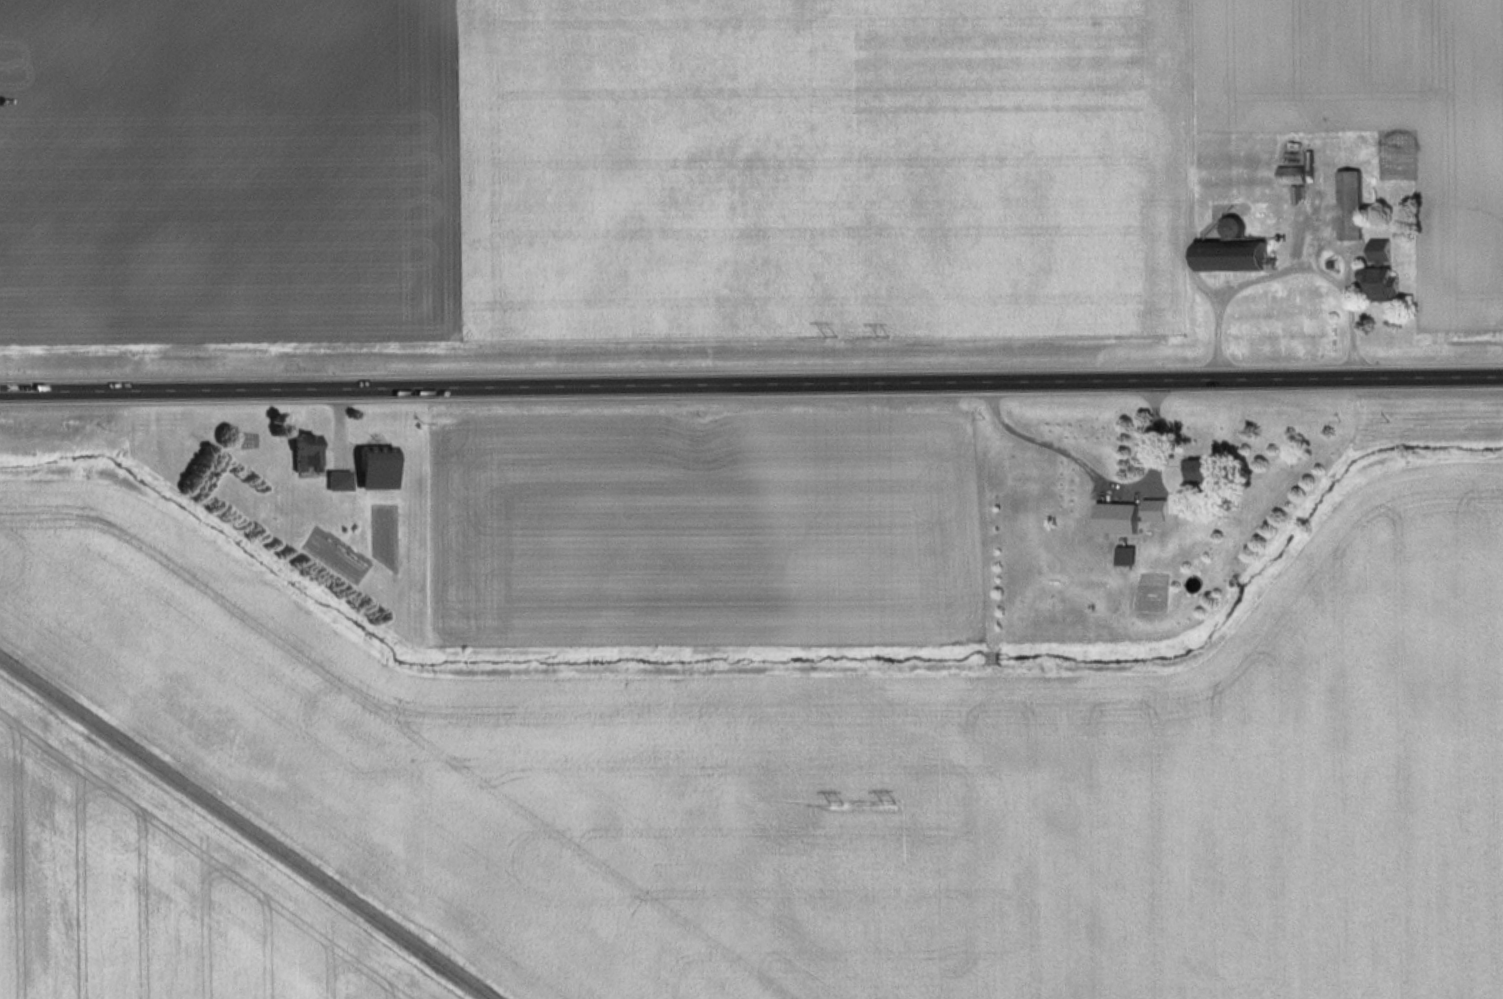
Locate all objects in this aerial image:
building: (1352, 204)
building: (1384, 251)
road: (1298, 252)
road: (1322, 271)
building: (1383, 281)
power tower: (882, 332)
power tower: (830, 333)
road: (751, 388)
building: (309, 455)
building: (383, 469)
building: (1209, 471)
building: (341, 480)
power tower: (889, 801)
power tower: (836, 802)
railway: (246, 828)

